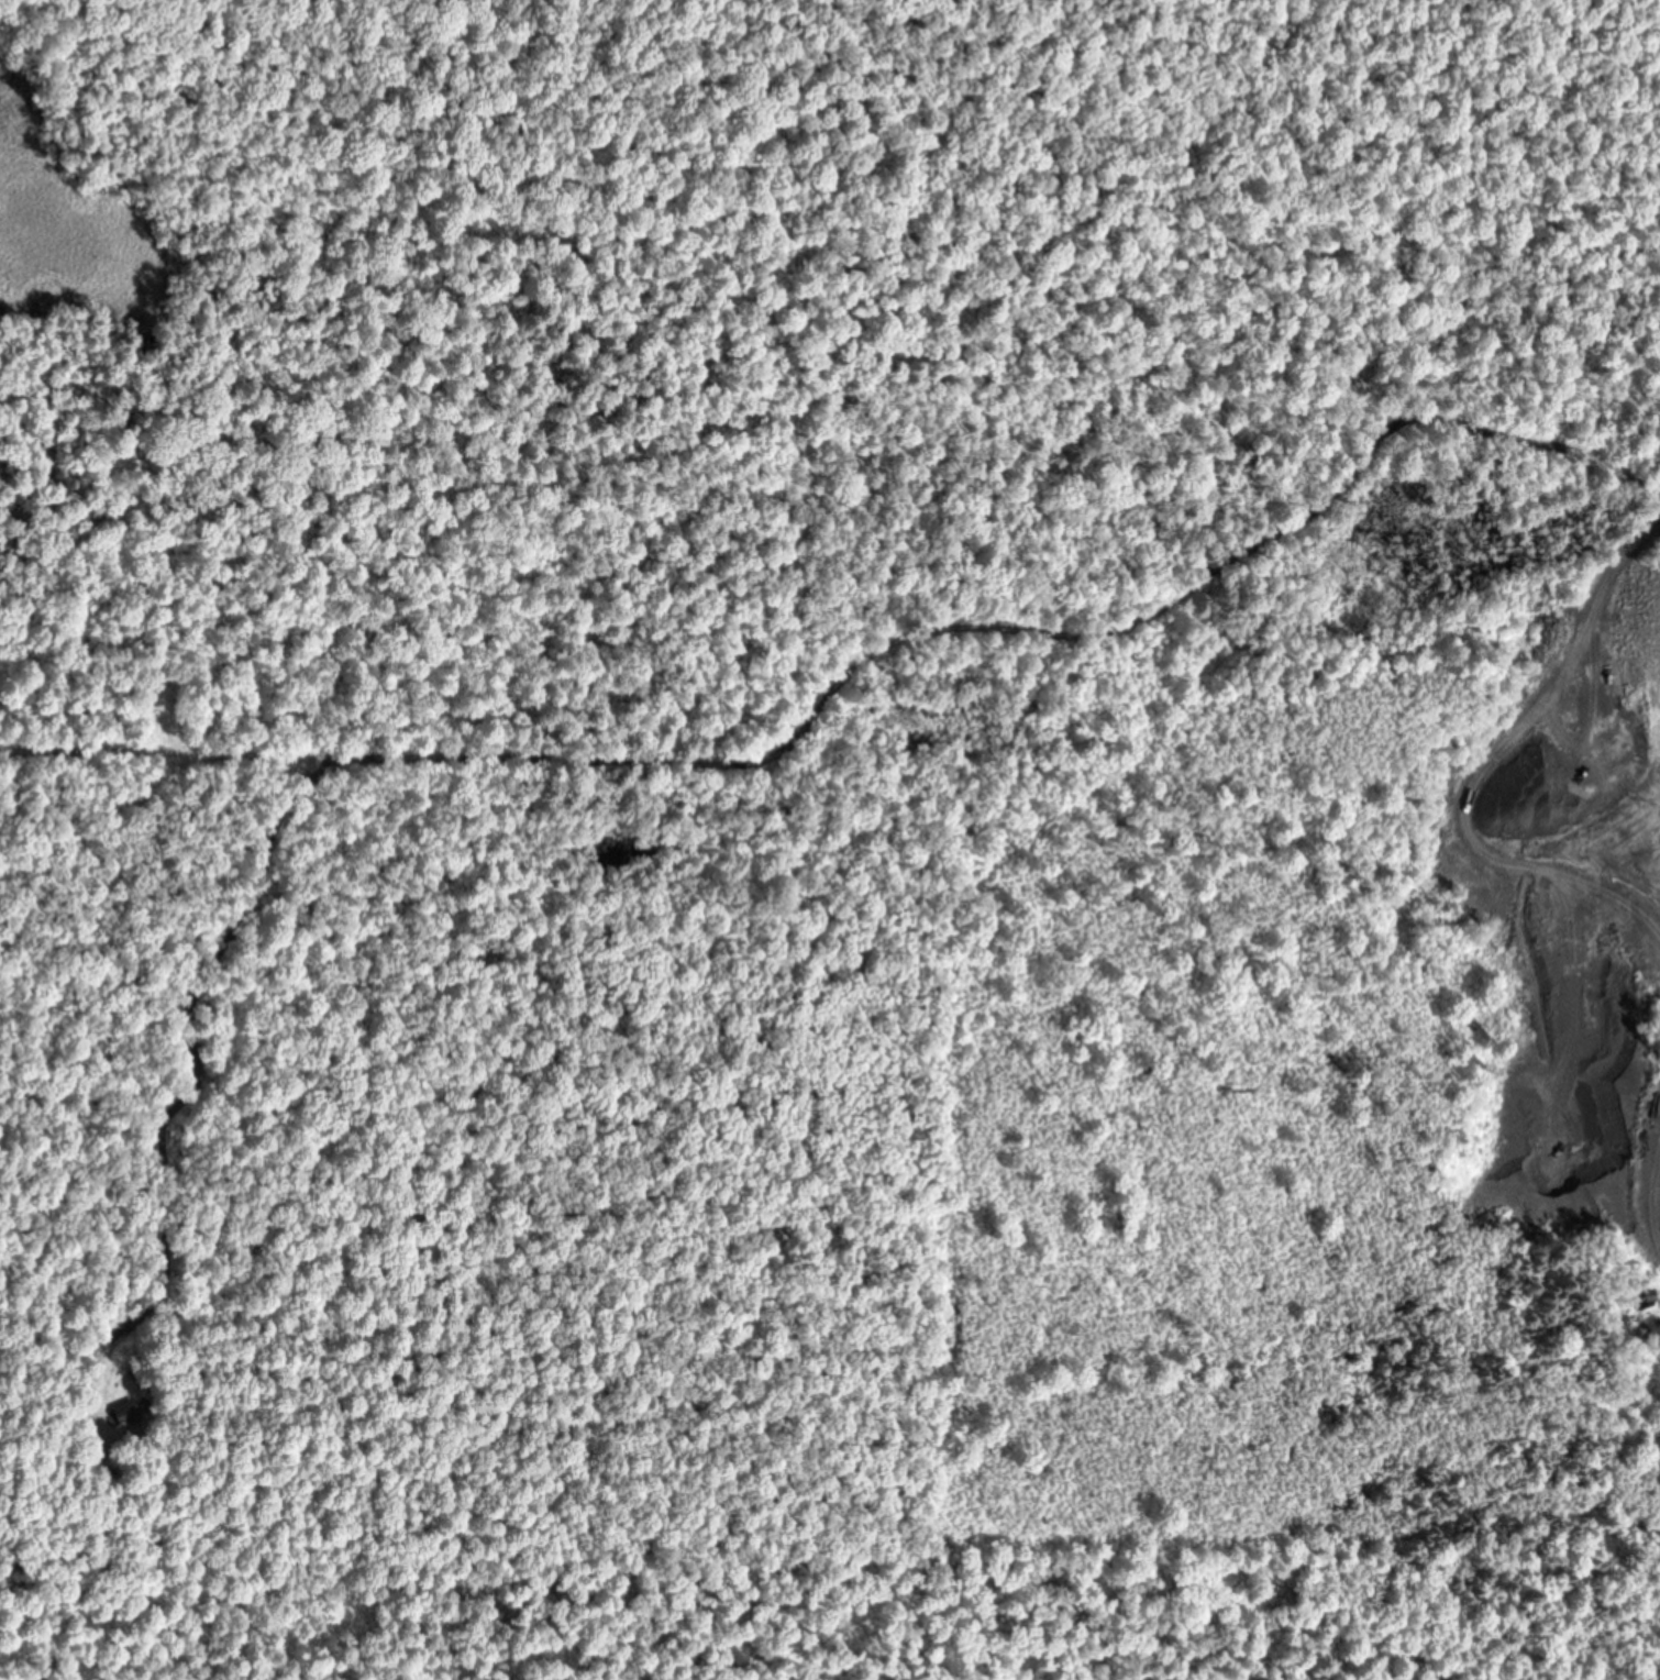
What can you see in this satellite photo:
quarry: (1240, 1002)

